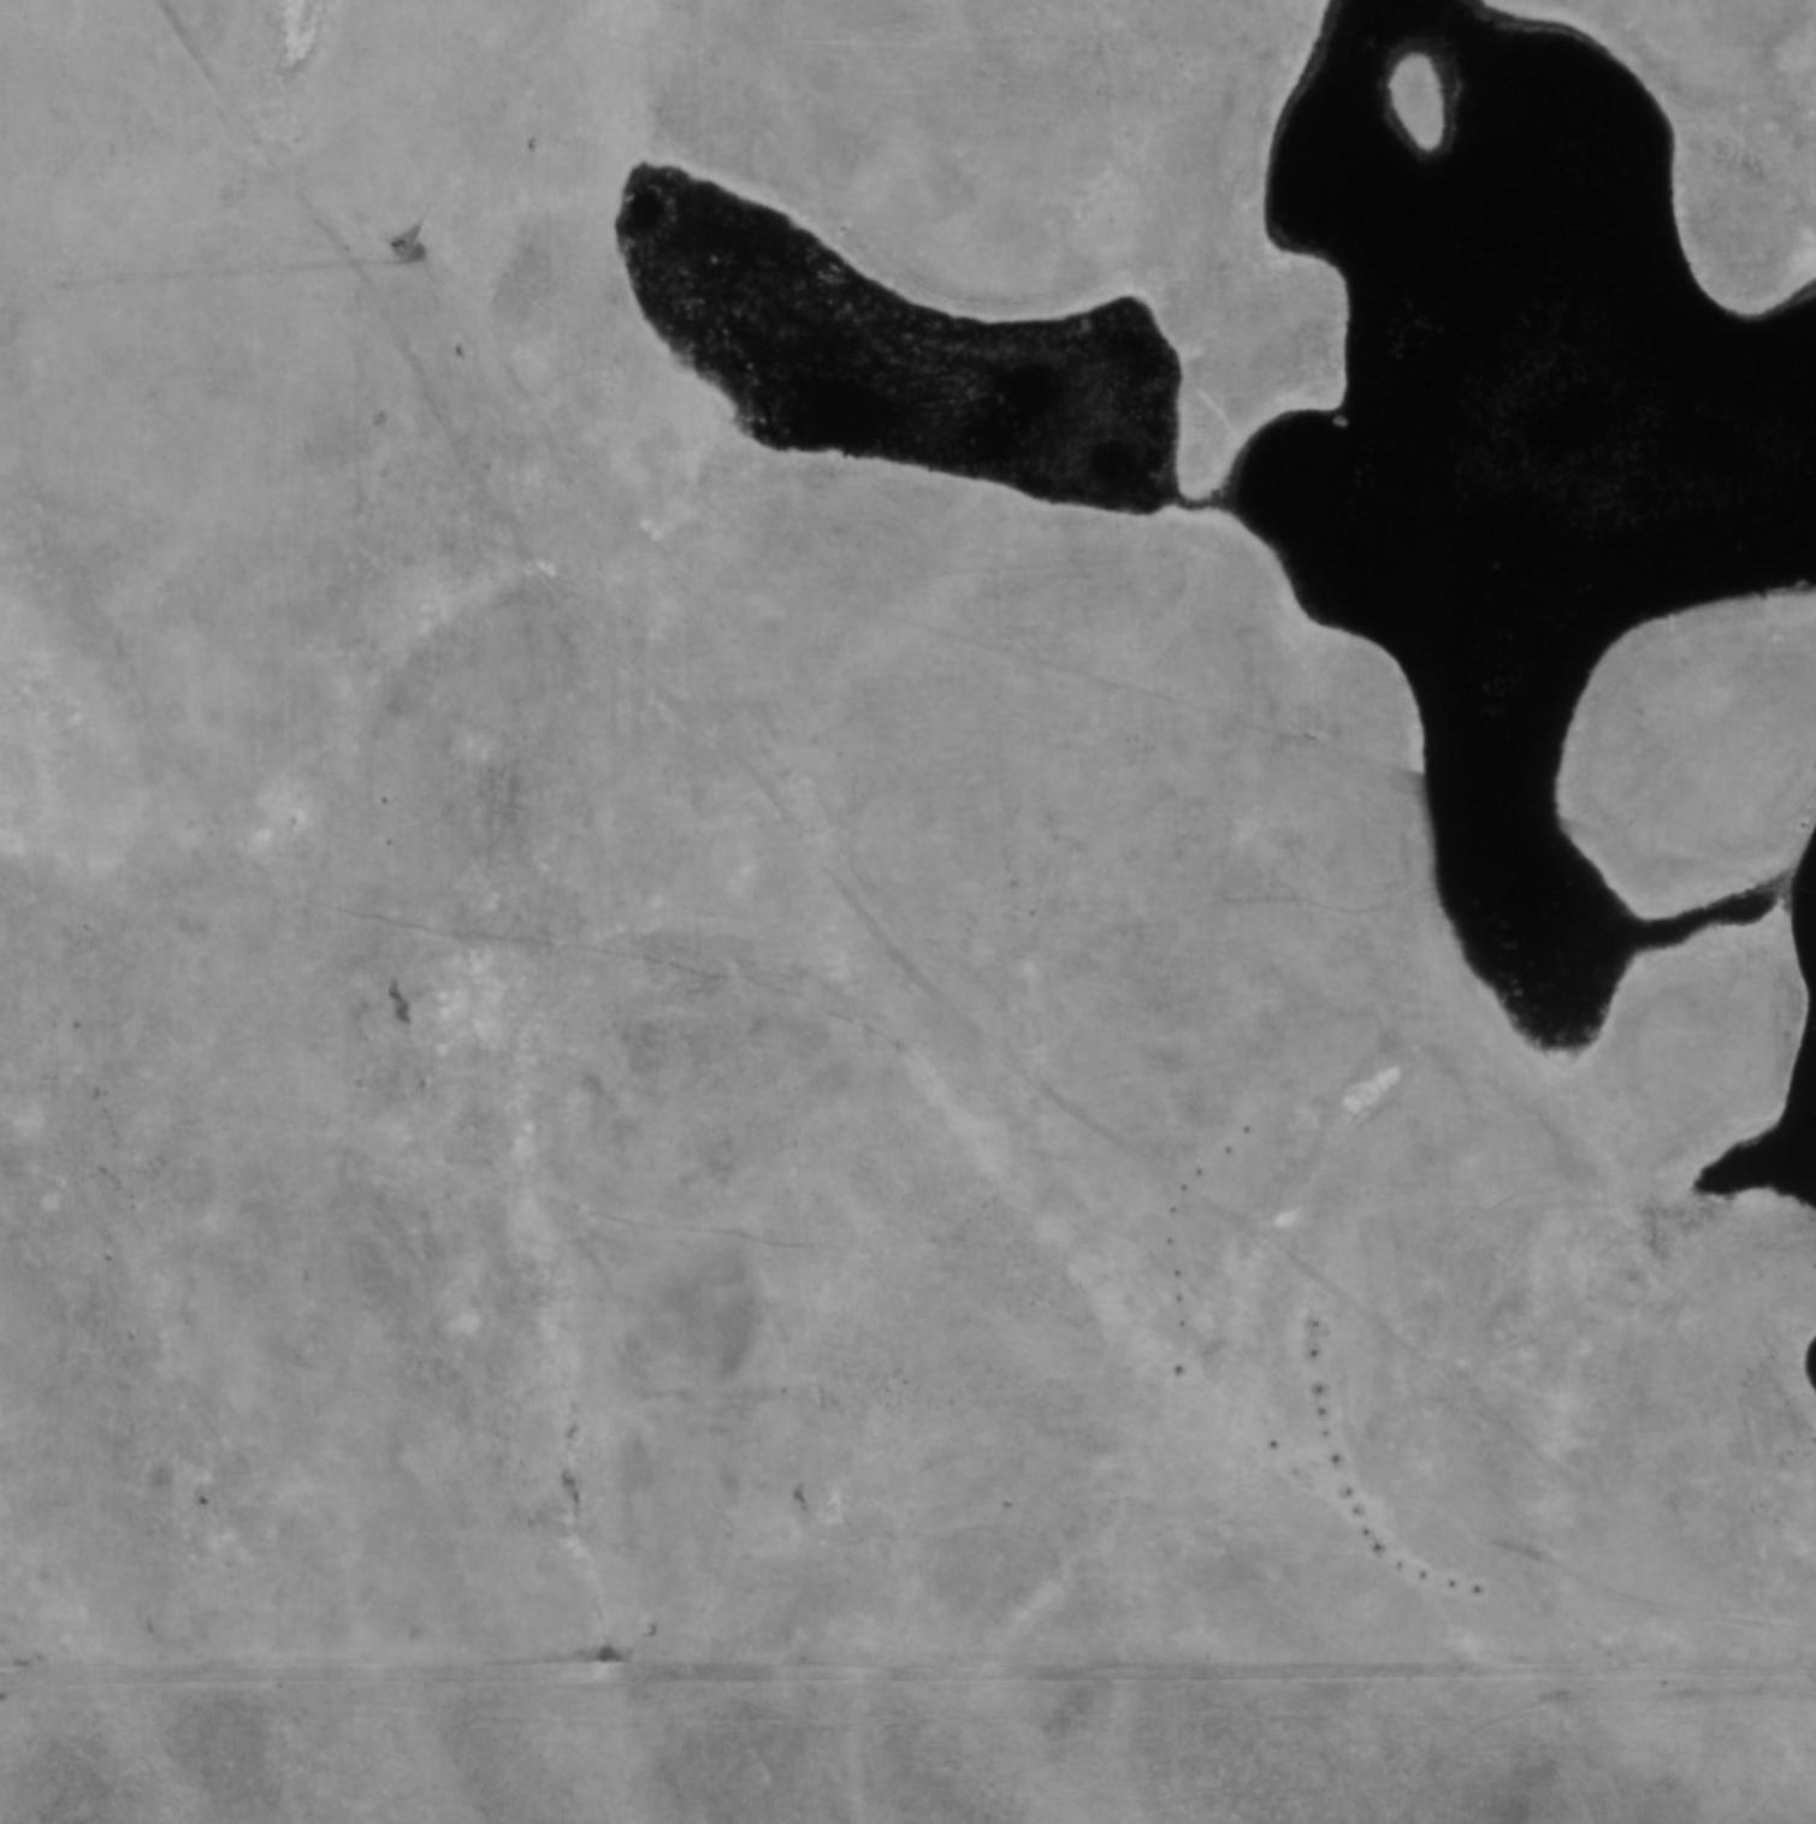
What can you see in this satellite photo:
road: (1579, 1699)

